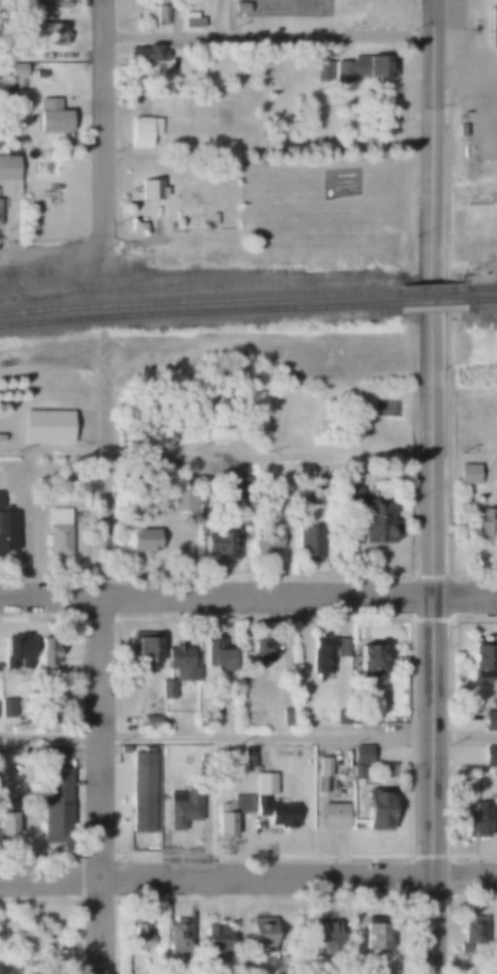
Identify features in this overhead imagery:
building: (74, 0)
building: (61, 4)
park: (268, 8)
park: (315, 8)
building: (162, 16)
building: (191, 19)
building: (491, 26)
building: (52, 34)
road: (268, 41)
road: (347, 50)
building: (149, 53)
building: (362, 68)
building: (321, 70)
building: (53, 117)
road: (106, 121)
building: (459, 129)
building: (143, 131)
building: (40, 155)
building: (8, 167)
building: (151, 189)
building: (1, 209)
building: (136, 226)
road: (52, 249)
railway: (481, 289)
railway: (481, 291)
railway: (434, 293)
railway: (482, 302)
railway: (200, 303)
railway: (433, 304)
railway: (199, 314)
building: (46, 426)
building: (300, 472)
building: (496, 473)
building: (466, 474)
road: (432, 487)
building: (225, 488)
building: (318, 491)
building: (351, 495)
road: (106, 498)
building: (181, 501)
building: (375, 523)
building: (481, 524)
building: (7, 531)
building: (57, 532)
building: (141, 540)
building: (220, 540)
building: (264, 543)
building: (307, 544)
building: (320, 544)
road: (248, 594)
building: (339, 647)
building: (260, 649)
building: (14, 650)
building: (46, 651)
building: (143, 654)
building: (320, 654)
building: (213, 657)
building: (479, 661)
building: (365, 662)
building: (180, 663)
building: (165, 689)
building: (7, 707)
building: (286, 717)
building: (489, 719)
building: (47, 721)
building: (147, 722)
building: (159, 724)
road: (248, 732)
building: (53, 752)
building: (360, 754)
building: (490, 755)
building: (323, 766)
building: (356, 772)
road: (101, 782)
building: (263, 784)
building: (140, 792)
building: (53, 804)
building: (259, 805)
building: (181, 808)
building: (376, 808)
building: (279, 814)
building: (228, 816)
building: (332, 816)
building: (6, 819)
building: (472, 821)
road: (248, 875)
building: (323, 931)
building: (374, 933)
building: (138, 935)
building: (257, 935)
building: (471, 935)
park: (39, 936)
building: (177, 939)
building: (211, 939)
building: (222, 940)
road: (77, 967)

